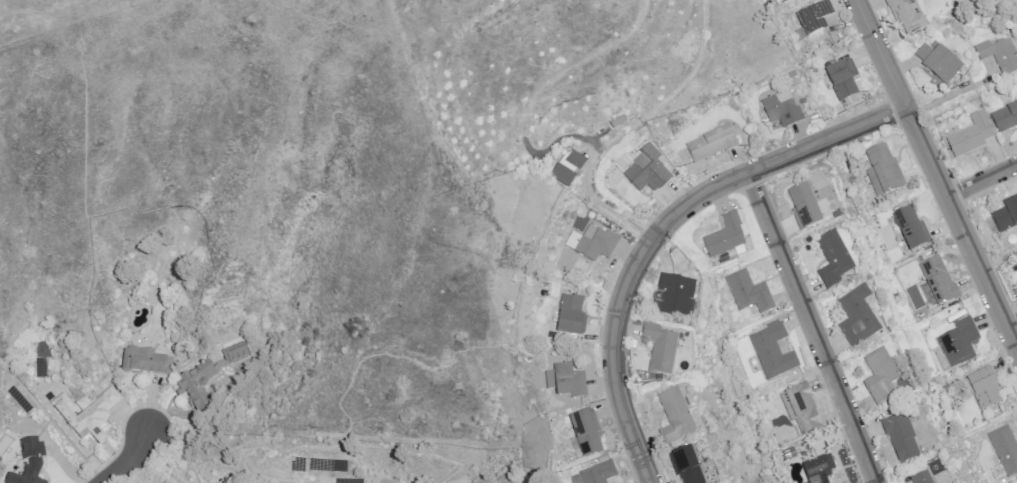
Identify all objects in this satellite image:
building: (908, 17)
building: (816, 18)
building: (1001, 55)
building: (941, 64)
building: (841, 83)
road: (956, 95)
building: (782, 112)
building: (1006, 117)
building: (973, 136)
building: (713, 142)
building: (569, 167)
building: (649, 169)
building: (886, 170)
road: (936, 174)
road: (982, 180)
building: (805, 208)
road: (610, 209)
building: (1007, 217)
building: (914, 229)
road: (667, 231)
building: (726, 236)
building: (595, 242)
building: (833, 263)
building: (940, 282)
building: (1016, 282)
building: (750, 292)
building: (676, 295)
building: (572, 316)
building: (859, 319)
road: (813, 327)
building: (961, 343)
building: (661, 349)
building: (773, 352)
building: (234, 353)
building: (142, 363)
building: (883, 378)
building: (192, 383)
building: (565, 384)
building: (986, 389)
building: (802, 409)
building: (87, 415)
building: (675, 417)
building: (585, 437)
building: (903, 440)
building: (1004, 453)
building: (32, 454)
building: (790, 454)
road: (124, 458)
building: (685, 468)
building: (820, 470)
road: (139, 471)
building: (594, 472)
building: (20, 479)
building: (922, 479)

